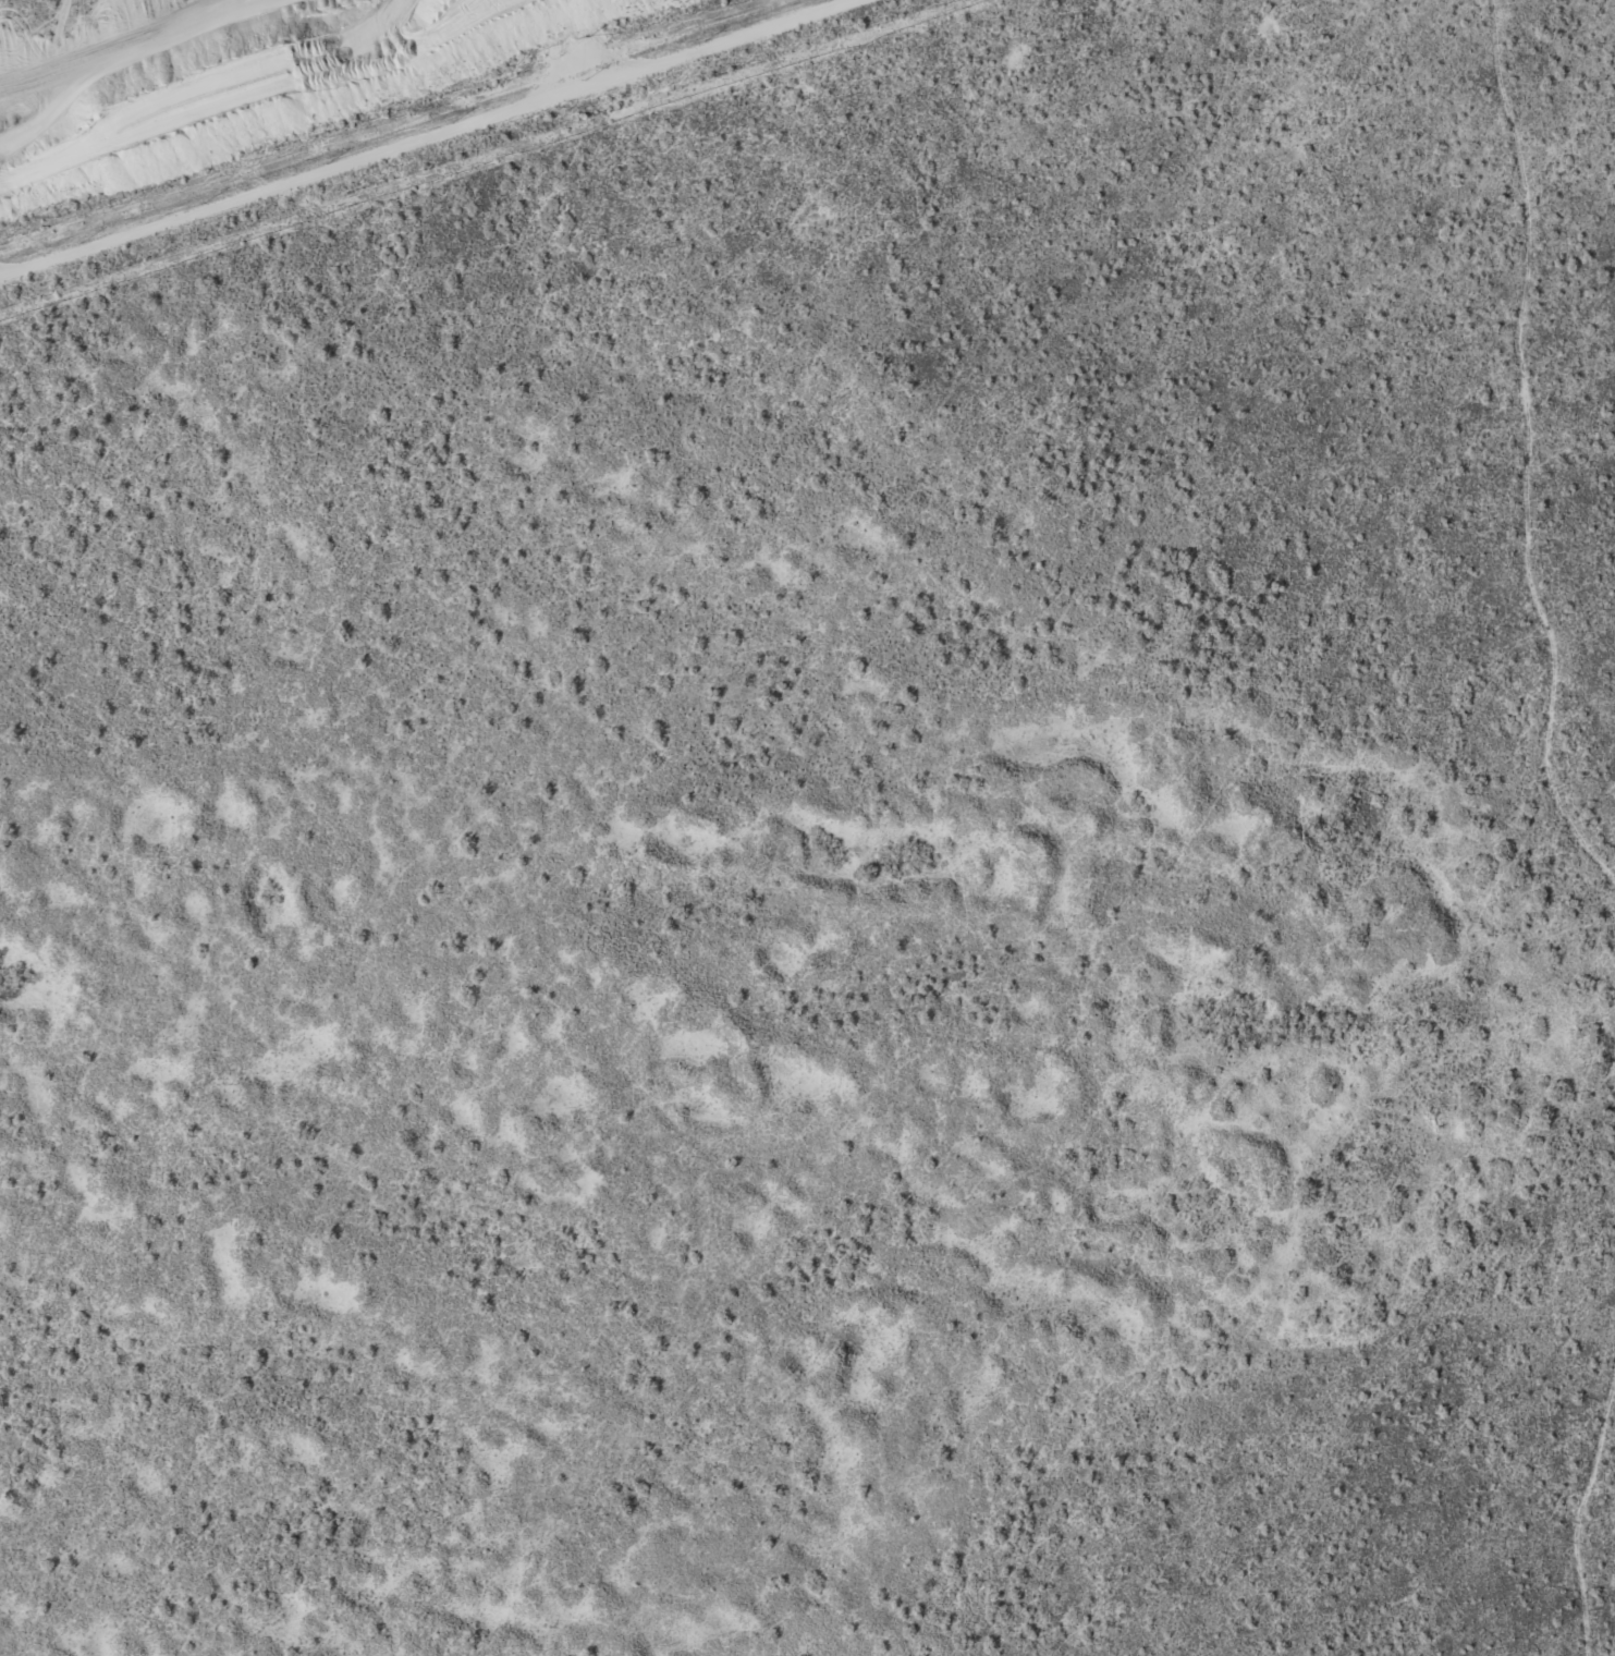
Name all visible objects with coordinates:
quarry: (262, 77)
road: (1525, 399)
road: (1543, 1383)

